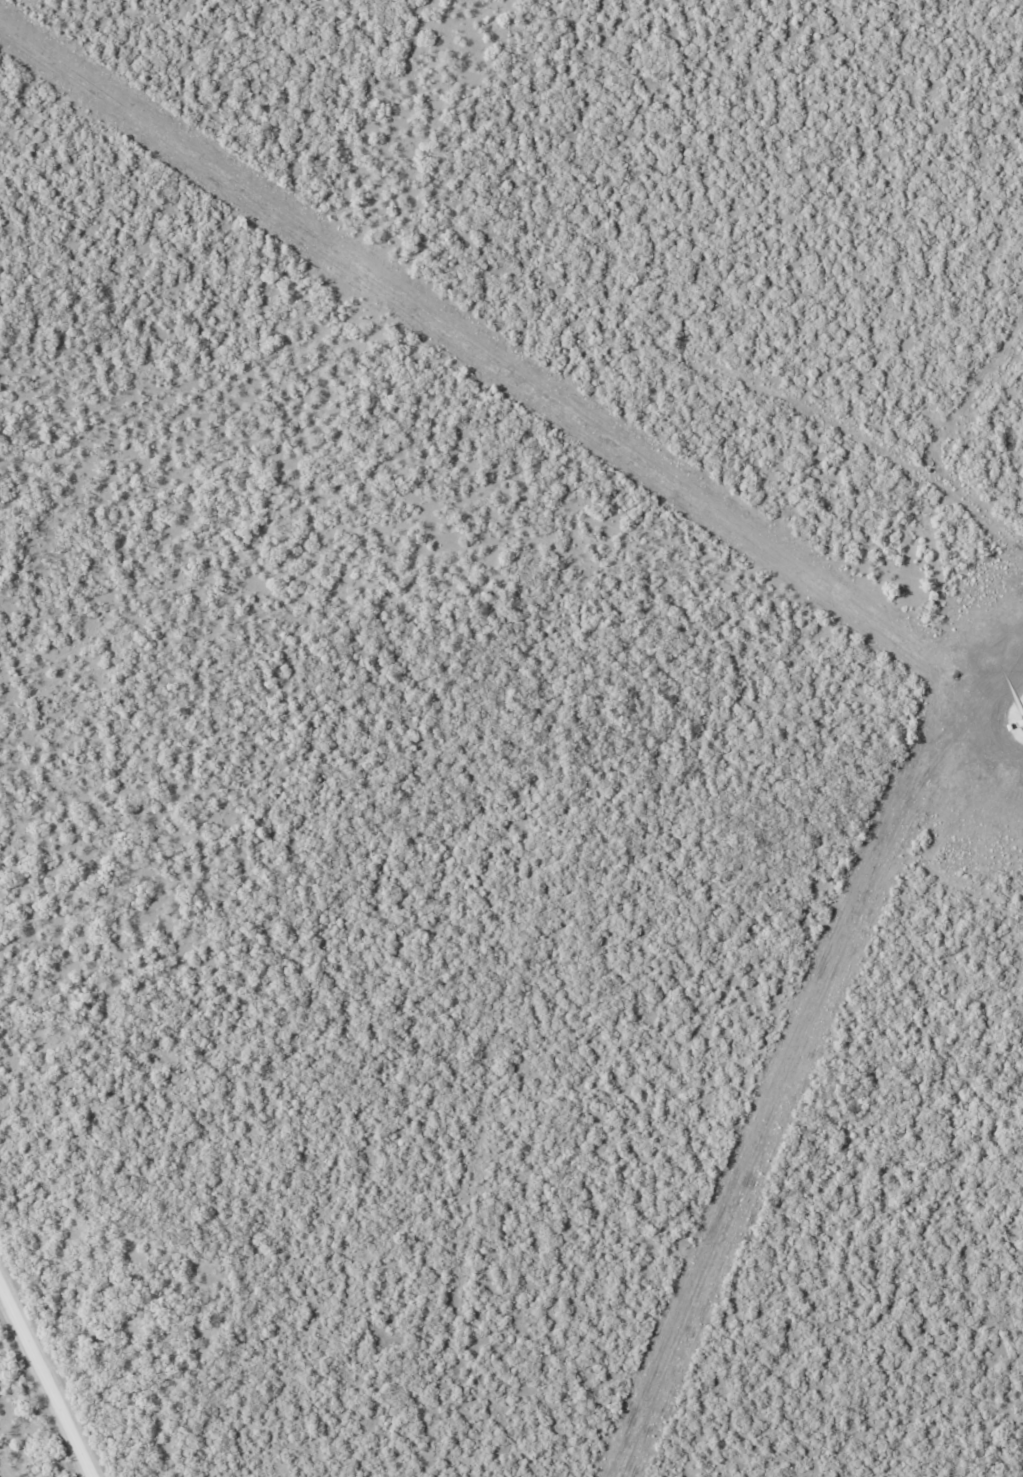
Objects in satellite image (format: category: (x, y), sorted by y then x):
road: (31, 1399)

